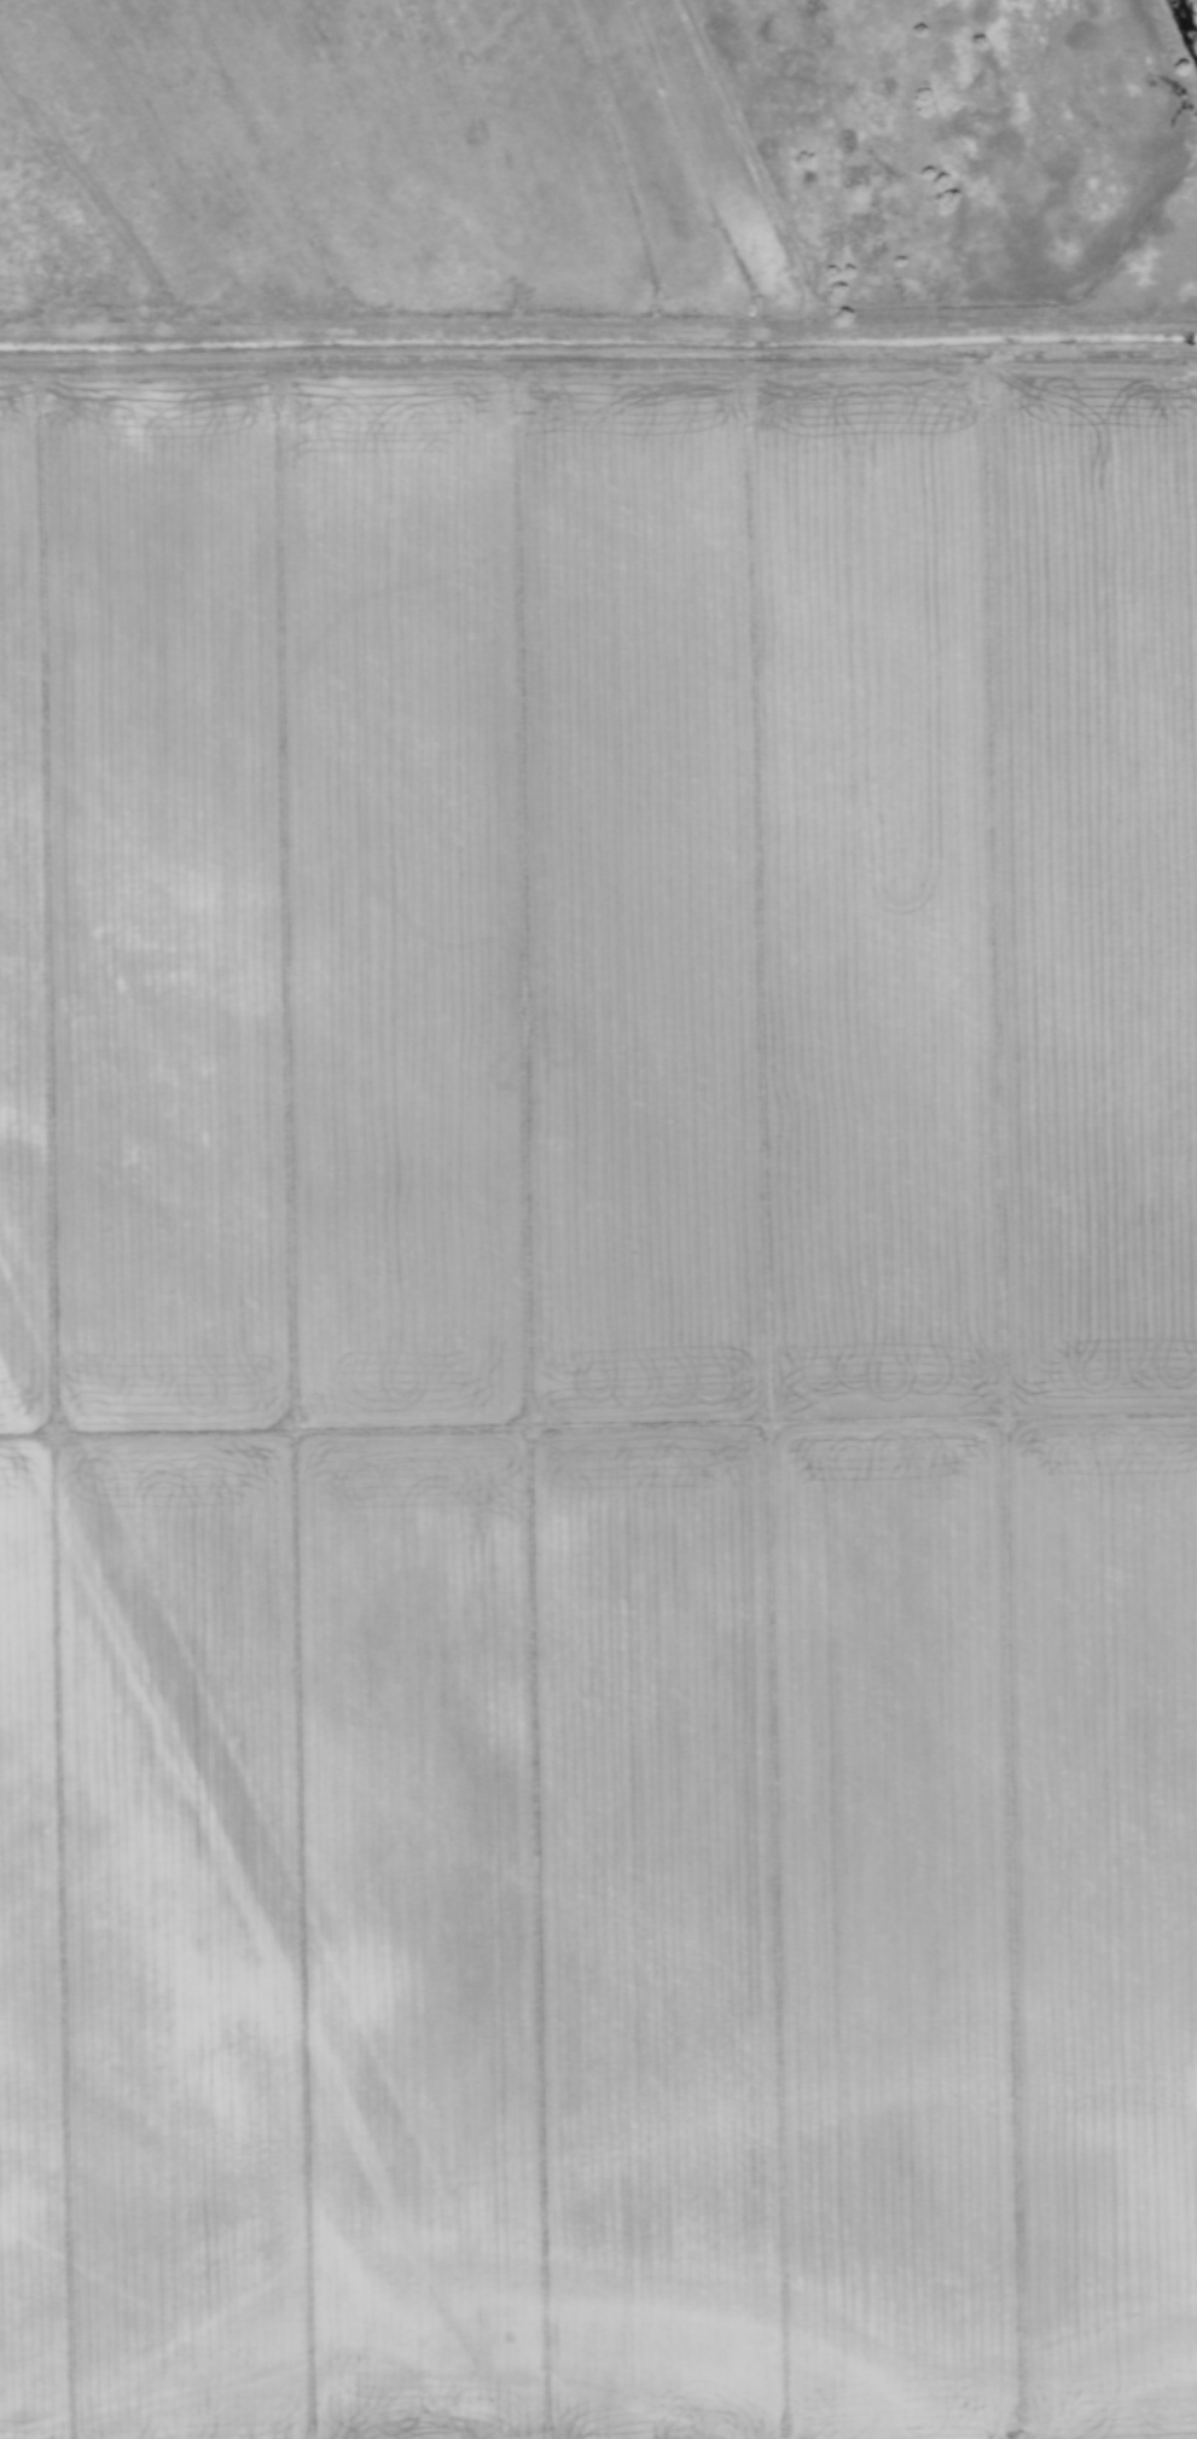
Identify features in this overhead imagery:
crop: (1176, 43)
crop: (577, 1279)

